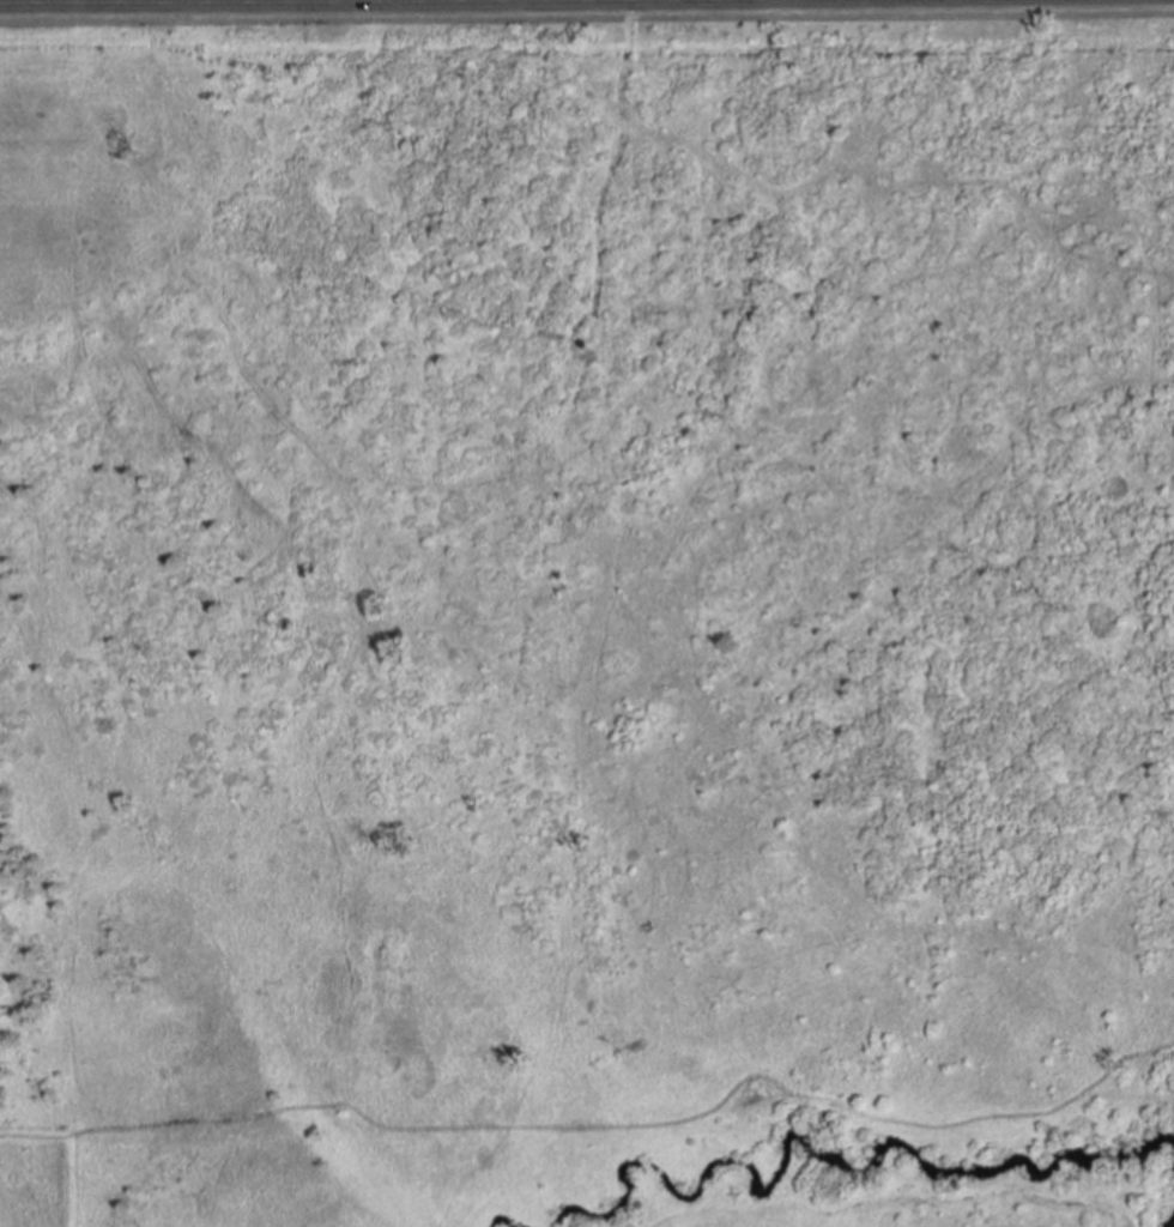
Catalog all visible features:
road: (435, 2)

